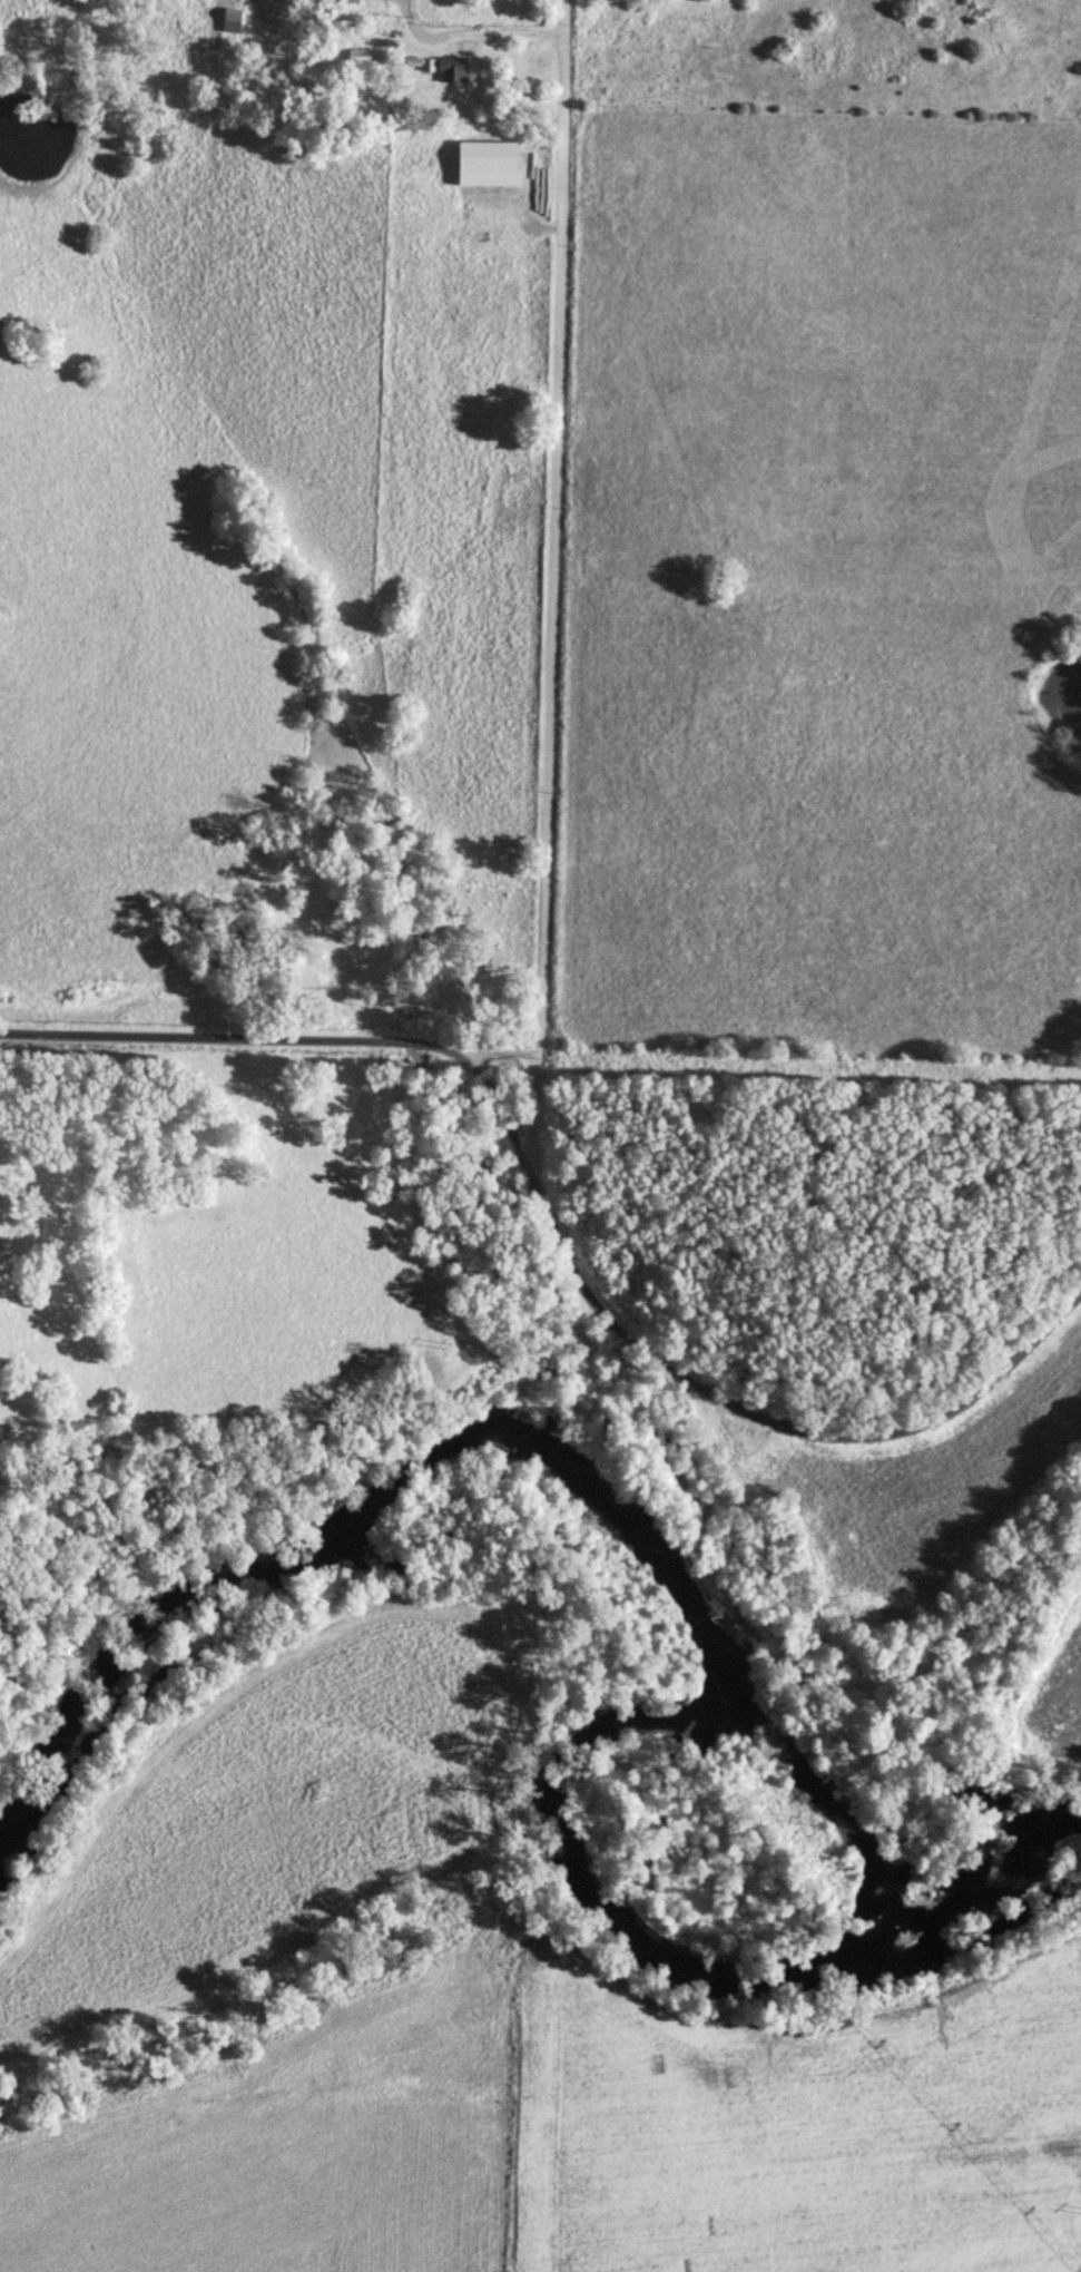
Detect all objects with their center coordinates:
building: (353, 0)
building: (234, 19)
road: (472, 33)
building: (360, 53)
building: (428, 65)
building: (453, 69)
building: (399, 106)
road: (553, 525)
road: (268, 1039)
road: (499, 1110)
road: (714, 1392)

